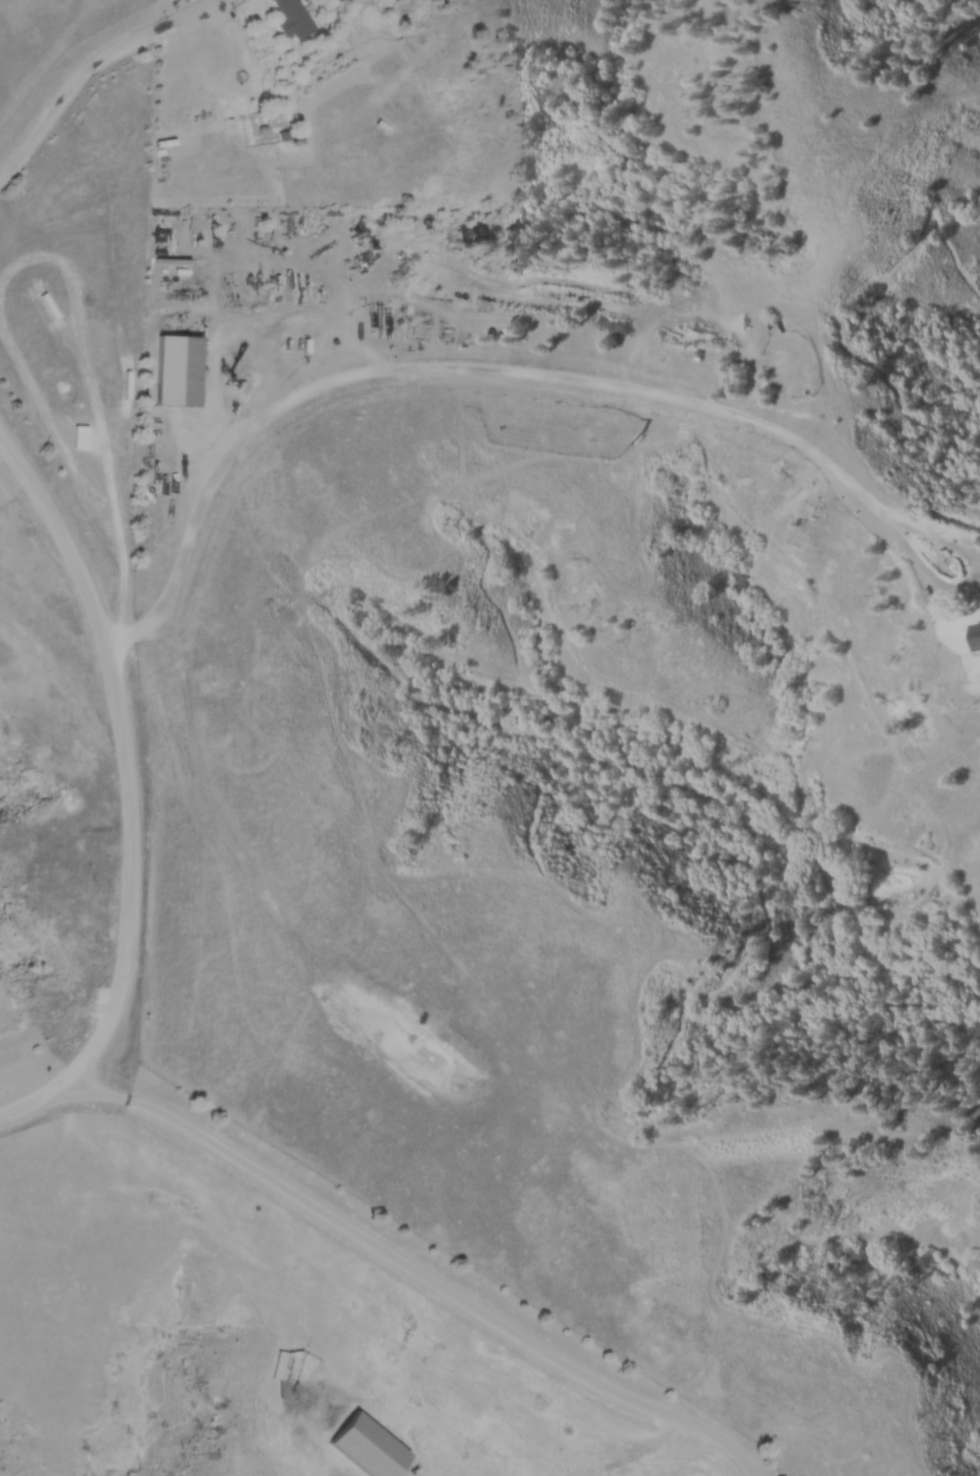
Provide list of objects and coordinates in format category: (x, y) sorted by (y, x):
building: (293, 19)
road: (92, 66)
building: (178, 369)
road: (448, 370)
road: (935, 590)
building: (977, 633)
road: (122, 803)
road: (416, 1278)

